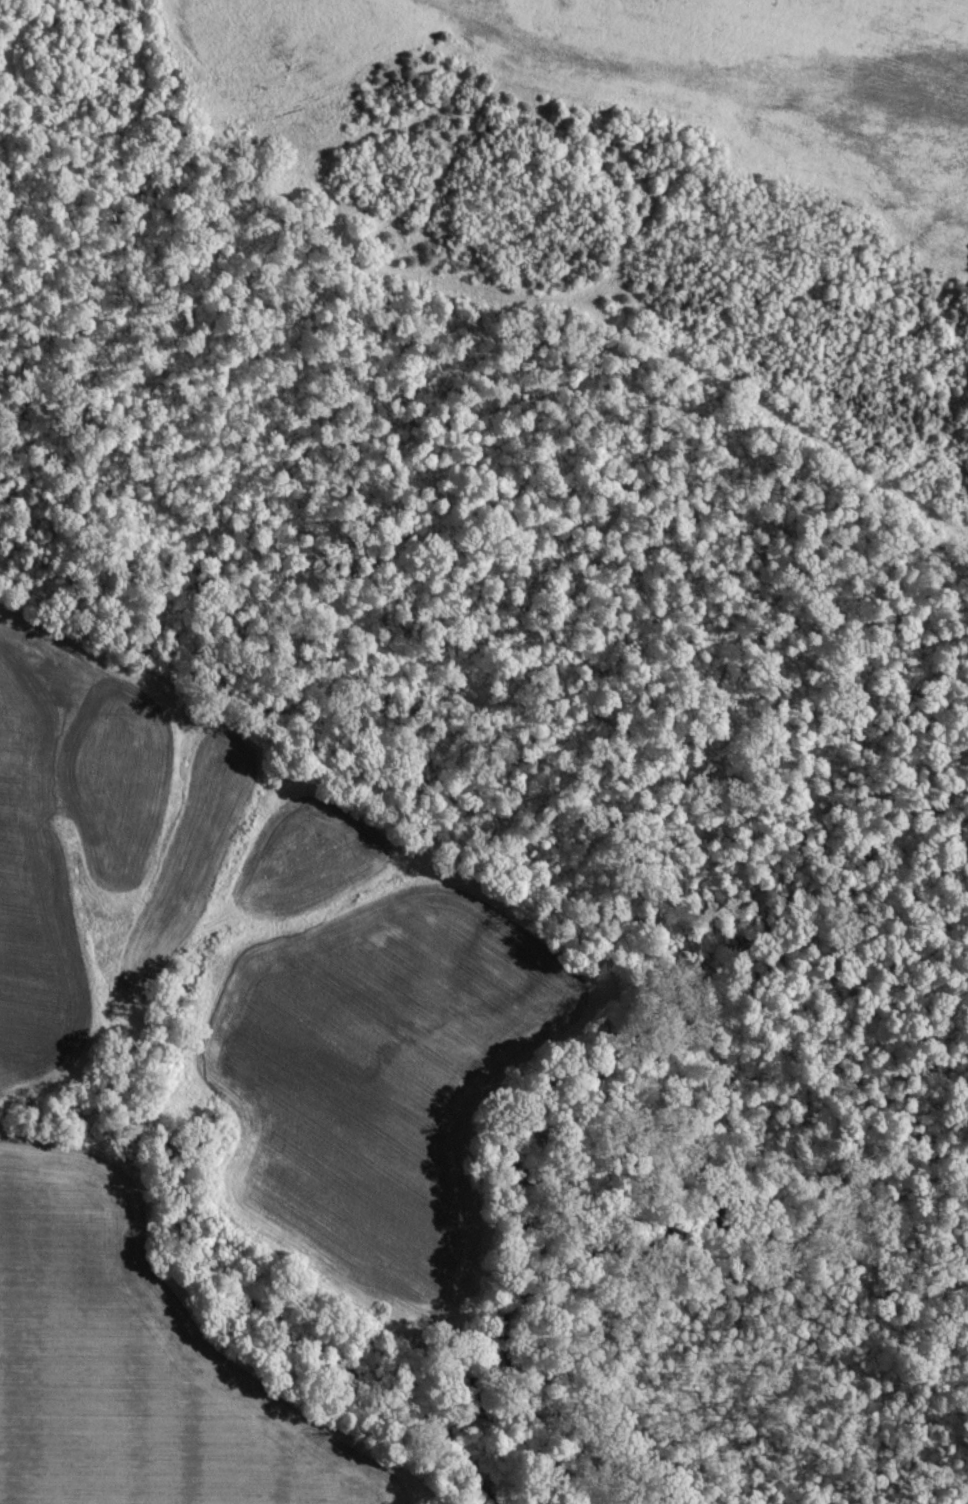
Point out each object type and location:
road: (698, 66)

